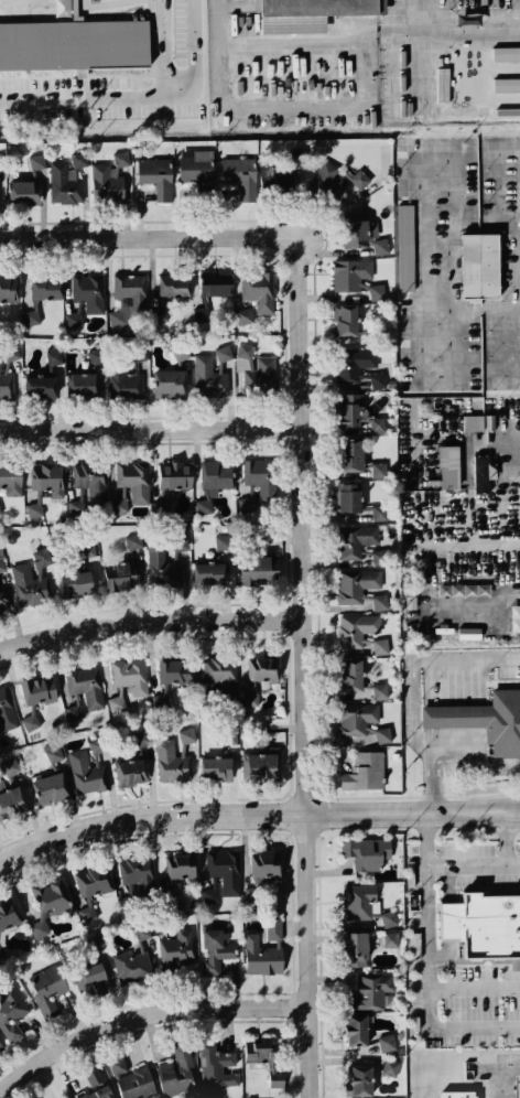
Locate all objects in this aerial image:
building: (310, 12)
road: (431, 18)
road: (452, 34)
building: (74, 42)
building: (506, 53)
building: (506, 85)
road: (126, 93)
road: (314, 110)
building: (299, 155)
building: (36, 161)
building: (197, 168)
building: (156, 175)
building: (240, 175)
building: (109, 179)
building: (67, 180)
building: (334, 180)
building: (23, 192)
road: (518, 203)
building: (361, 233)
road: (424, 233)
road: (153, 236)
building: (407, 247)
building: (479, 266)
building: (351, 273)
building: (216, 283)
building: (173, 286)
building: (46, 288)
building: (9, 289)
building: (258, 290)
building: (89, 291)
building: (378, 291)
building: (132, 301)
building: (202, 314)
building: (243, 315)
road: (519, 315)
building: (31, 316)
building: (74, 319)
building: (346, 320)
building: (224, 353)
building: (54, 355)
building: (95, 356)
building: (354, 363)
building: (256, 368)
building: (7, 374)
building: (128, 376)
building: (209, 377)
building: (378, 379)
building: (83, 384)
building: (170, 384)
building: (40, 386)
building: (349, 409)
building: (479, 422)
road: (153, 424)
building: (378, 424)
road: (512, 452)
building: (348, 455)
building: (449, 466)
building: (379, 470)
building: (484, 473)
building: (175, 475)
building: (215, 476)
building: (260, 477)
building: (11, 478)
building: (48, 478)
building: (136, 480)
building: (88, 486)
building: (349, 496)
building: (248, 500)
building: (119, 505)
building: (204, 505)
building: (34, 509)
building: (380, 512)
road: (512, 513)
building: (133, 540)
building: (356, 540)
building: (221, 541)
building: (177, 542)
building: (85, 549)
building: (42, 556)
building: (379, 557)
building: (1, 564)
building: (163, 567)
building: (259, 569)
building: (208, 573)
building: (121, 574)
building: (76, 583)
building: (356, 583)
building: (29, 584)
building: (3, 600)
building: (380, 601)
road: (152, 618)
building: (357, 628)
building: (381, 646)
road: (420, 660)
building: (262, 668)
road: (308, 668)
building: (175, 670)
building: (353, 674)
building: (131, 675)
building: (221, 675)
building: (86, 685)
building: (37, 689)
building: (380, 690)
building: (250, 698)
building: (161, 701)
building: (116, 702)
building: (6, 711)
building: (74, 711)
building: (483, 719)
building: (30, 721)
building: (362, 721)
building: (186, 734)
building: (142, 738)
building: (97, 744)
building: (53, 751)
road: (478, 751)
building: (172, 762)
building: (262, 762)
building: (10, 768)
building: (217, 768)
building: (365, 771)
building: (131, 772)
building: (87, 773)
road: (432, 778)
building: (50, 788)
building: (11, 800)
road: (250, 808)
road: (514, 808)
road: (514, 812)
building: (367, 851)
road: (516, 862)
building: (266, 863)
road: (497, 863)
building: (181, 865)
building: (225, 870)
building: (137, 872)
building: (93, 880)
building: (209, 895)
road: (430, 898)
building: (359, 901)
building: (47, 904)
building: (87, 913)
building: (8, 914)
building: (389, 917)
building: (484, 925)
building: (142, 932)
building: (390, 938)
building: (216, 947)
building: (355, 948)
building: (178, 949)
building: (264, 949)
building: (132, 966)
building: (95, 978)
road: (474, 987)
building: (47, 988)
building: (371, 990)
building: (11, 1011)
road: (144, 1014)
road: (457, 1025)
building: (357, 1030)
building: (387, 1042)
building: (1, 1047)
building: (264, 1059)
building: (216, 1065)
building: (390, 1066)
building: (177, 1072)
road: (502, 1075)
building: (132, 1079)
building: (360, 1080)
building: (96, 1085)
building: (517, 1086)
building: (457, 1094)

